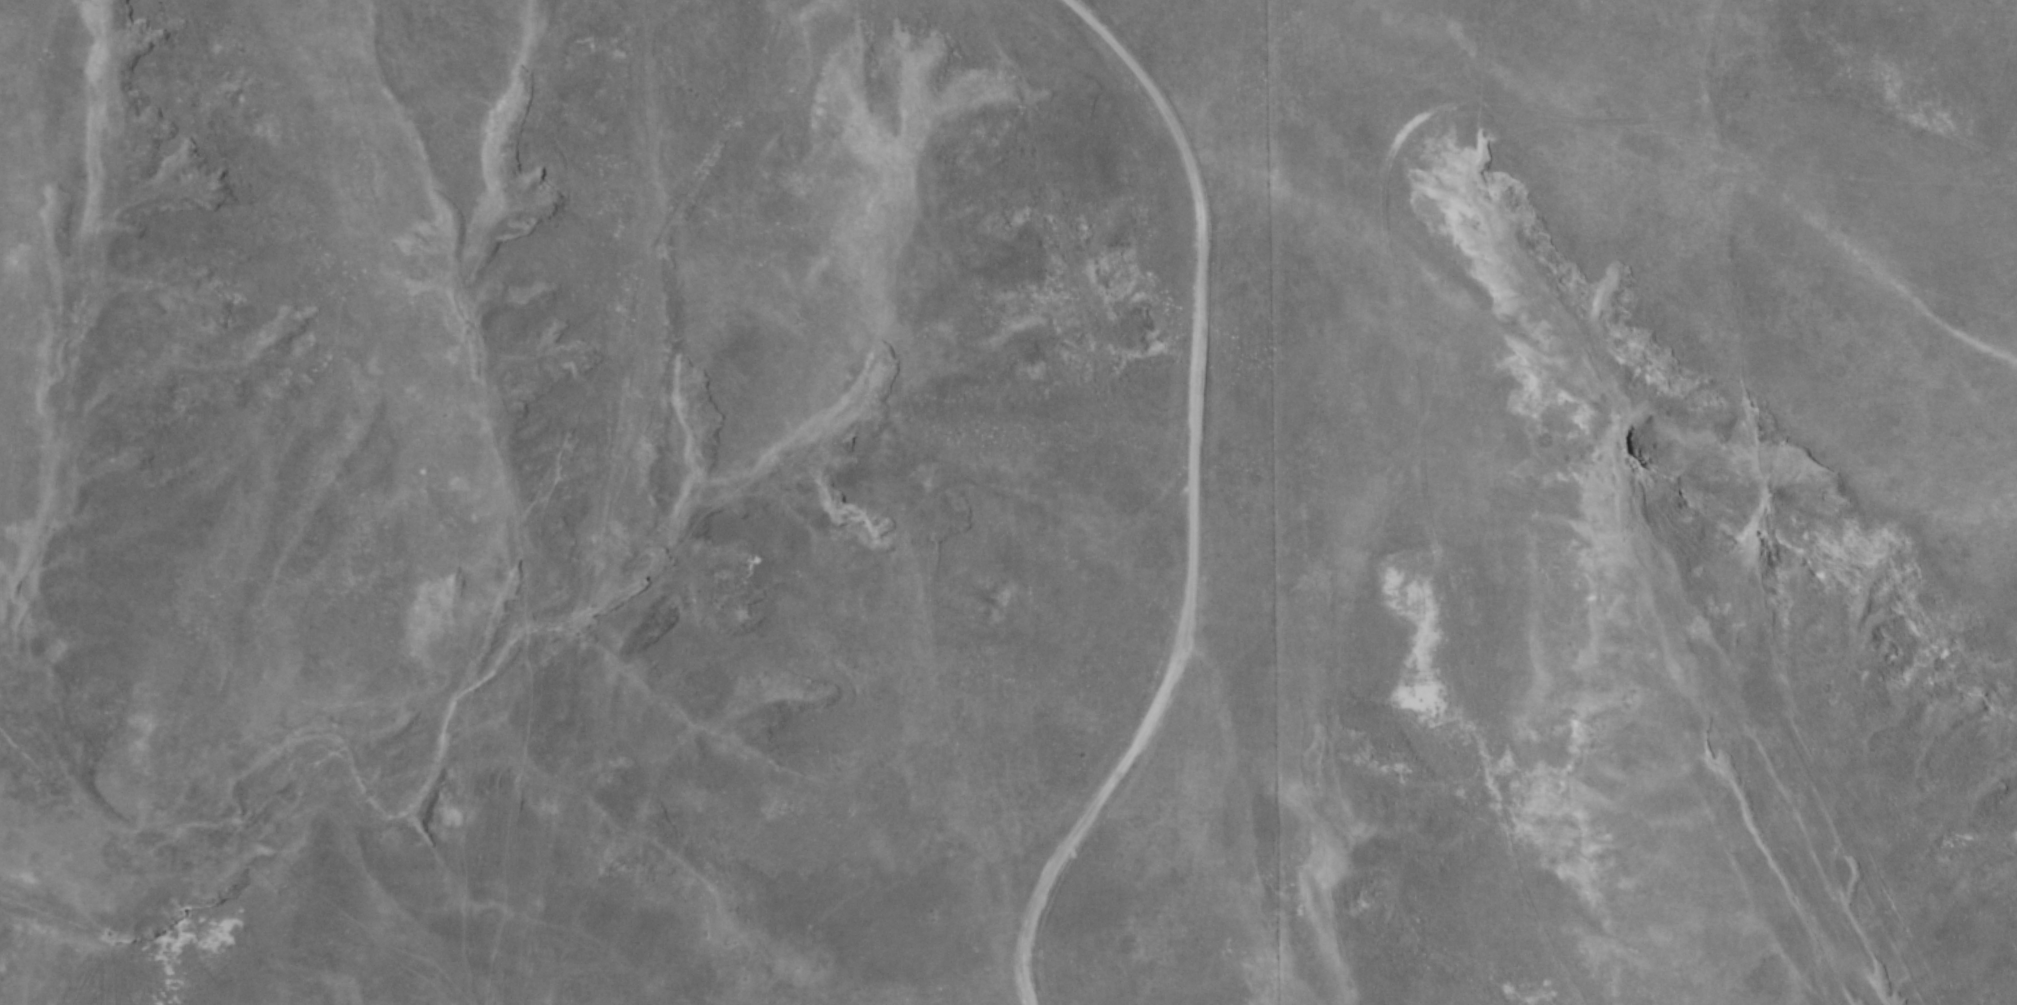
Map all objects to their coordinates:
dam: (66, 913)

